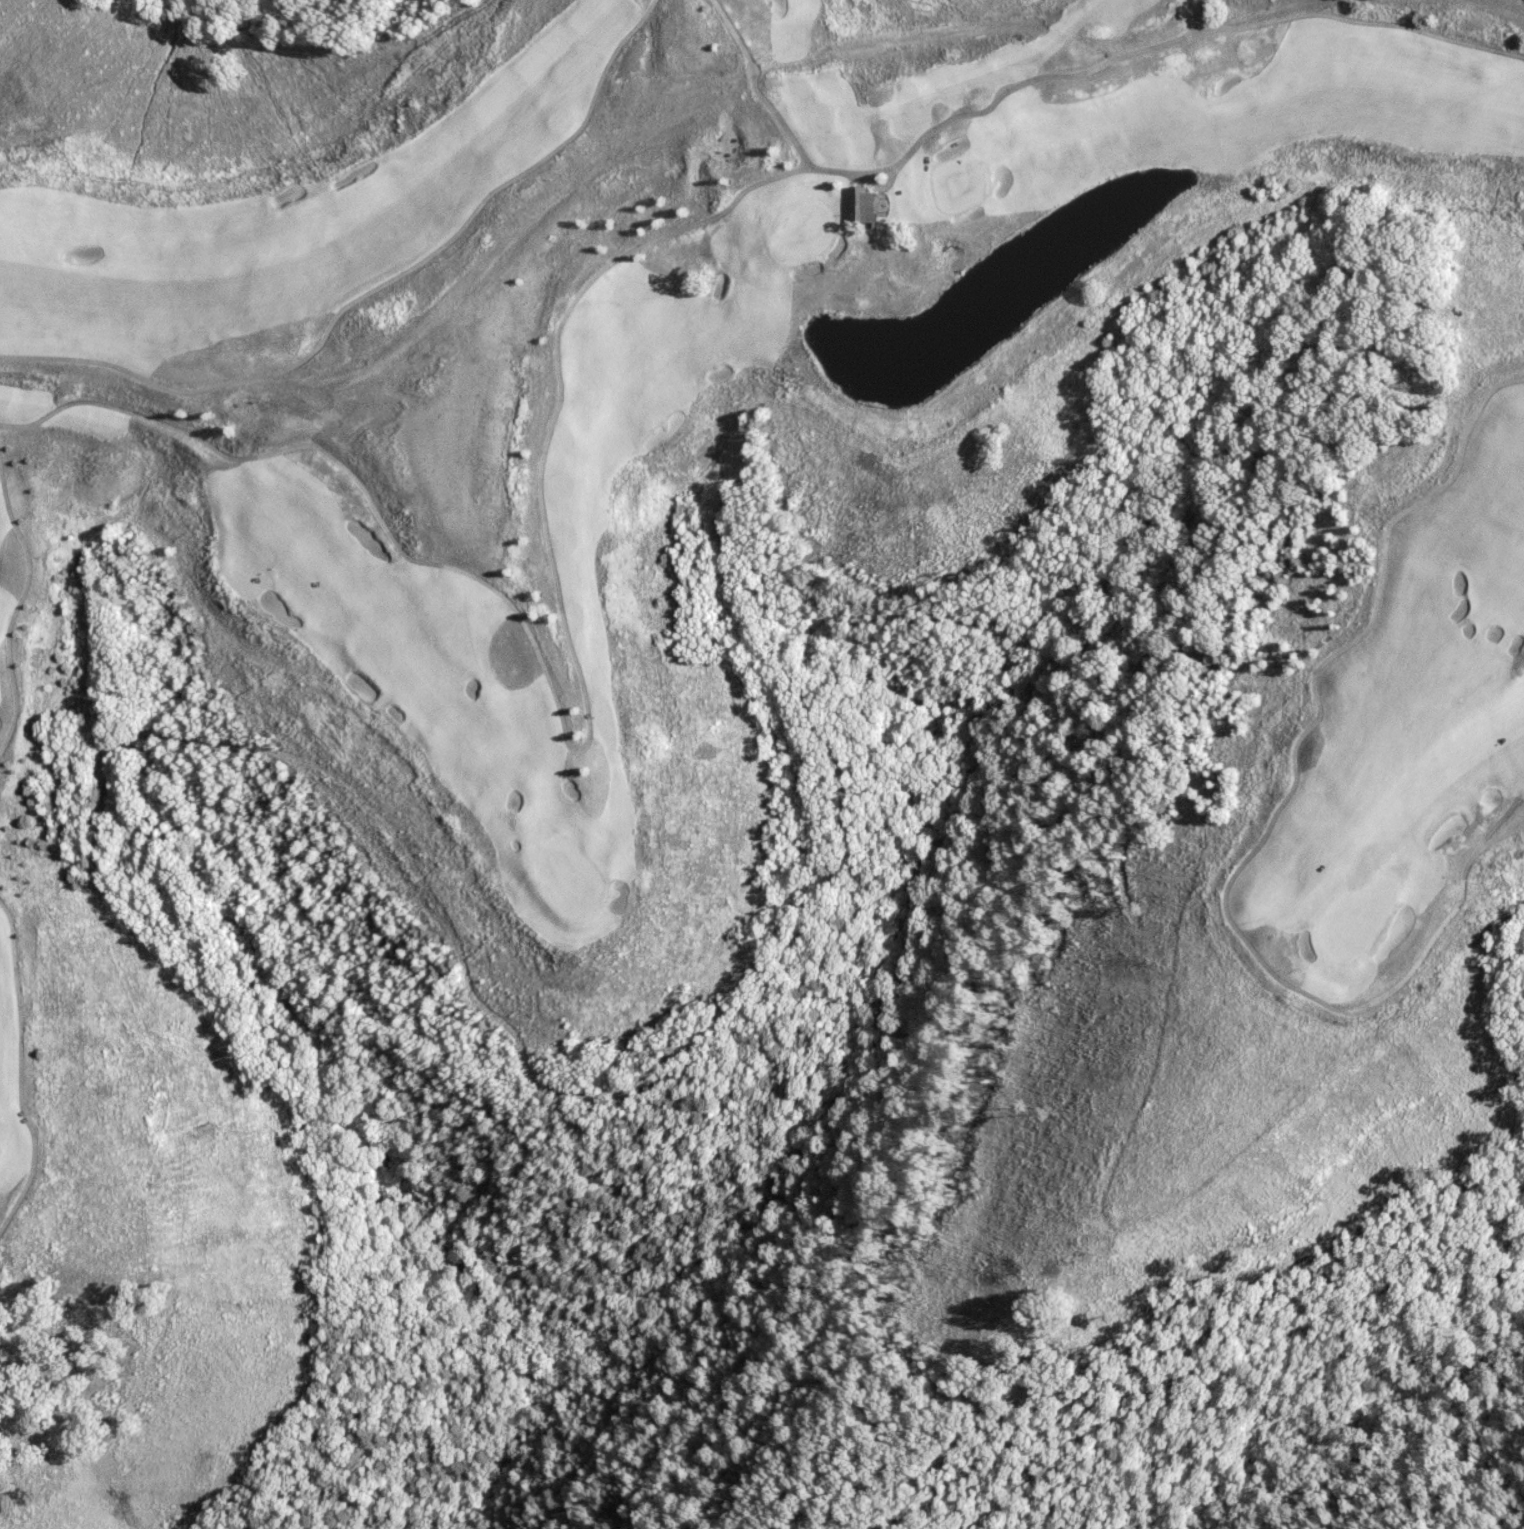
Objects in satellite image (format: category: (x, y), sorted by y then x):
building: (860, 205)

